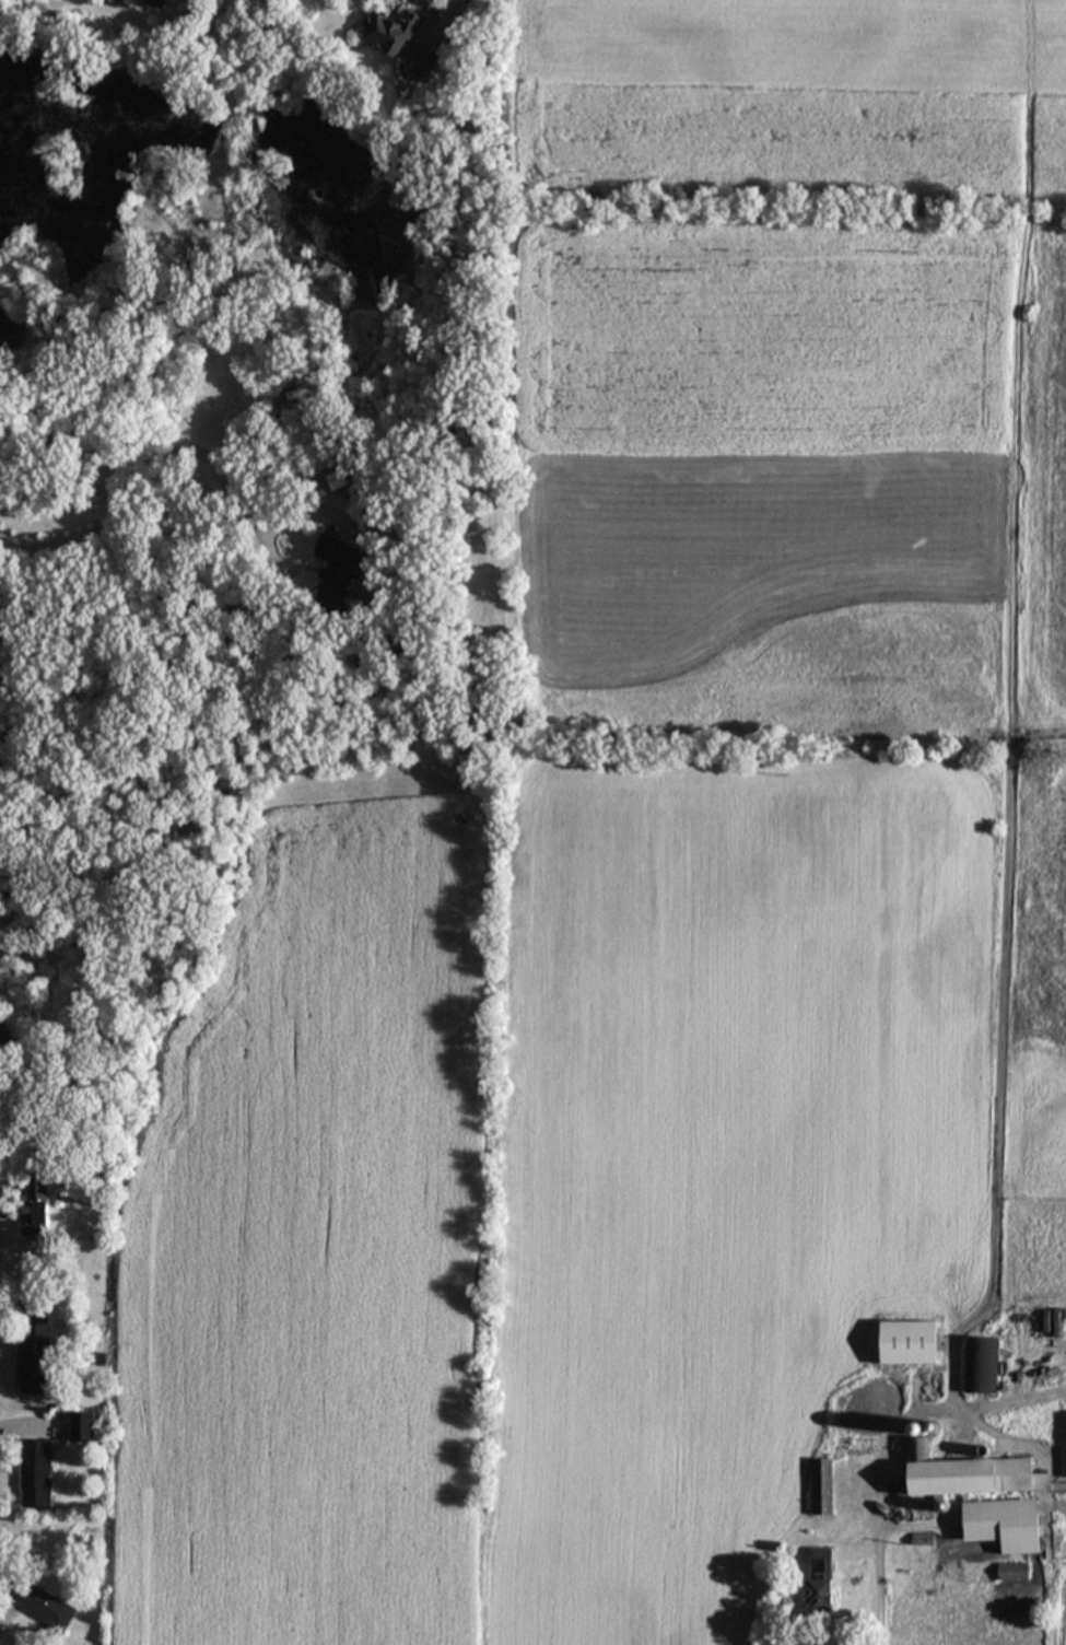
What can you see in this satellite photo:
building: (153, 2)
building: (124, 3)
building: (394, 32)
building: (425, 61)
road: (115, 471)
road: (242, 509)
building: (338, 571)
building: (2, 1052)
road: (998, 1195)
building: (36, 1205)
building: (59, 1310)
building: (907, 1342)
building: (33, 1365)
building: (981, 1365)
road: (30, 1427)
building: (82, 1427)
building: (36, 1473)
building: (821, 1486)
building: (1004, 1524)
building: (922, 1538)
building: (1012, 1571)
building: (819, 1578)
building: (39, 1602)

